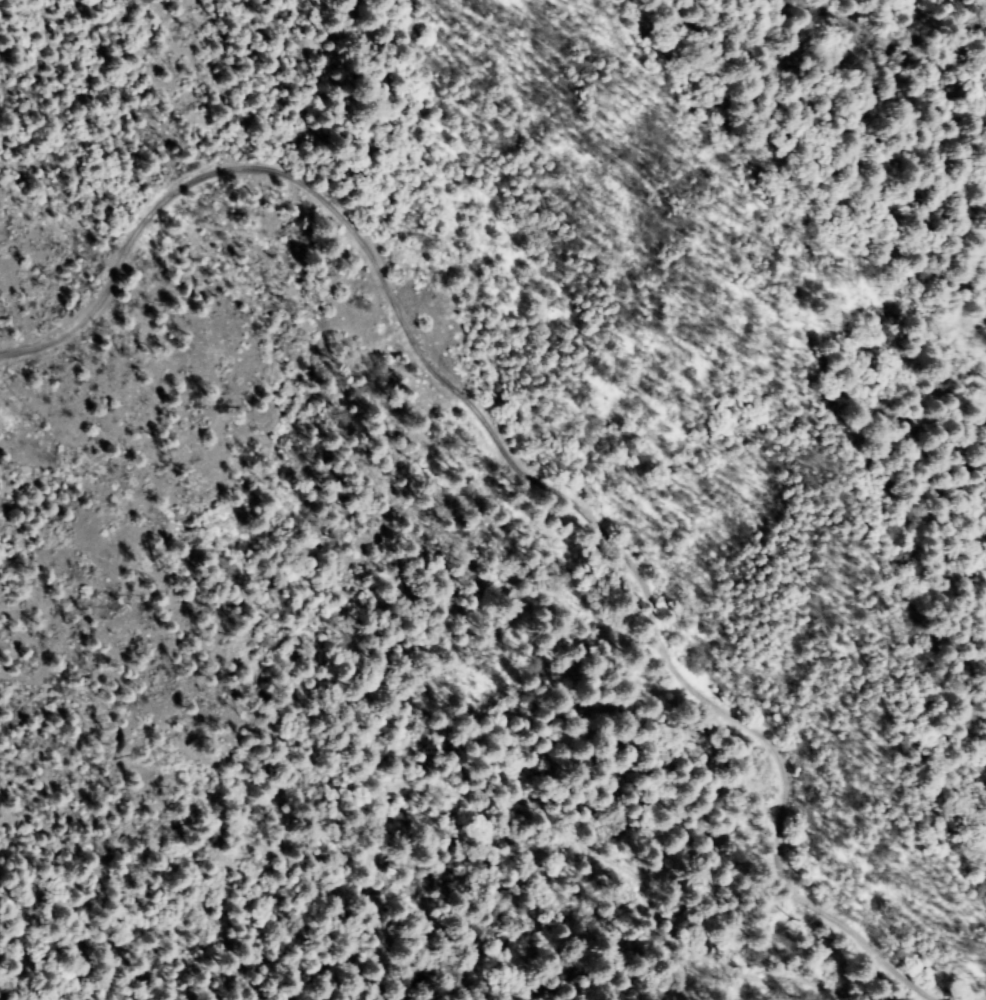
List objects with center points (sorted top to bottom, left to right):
road: (475, 486)

